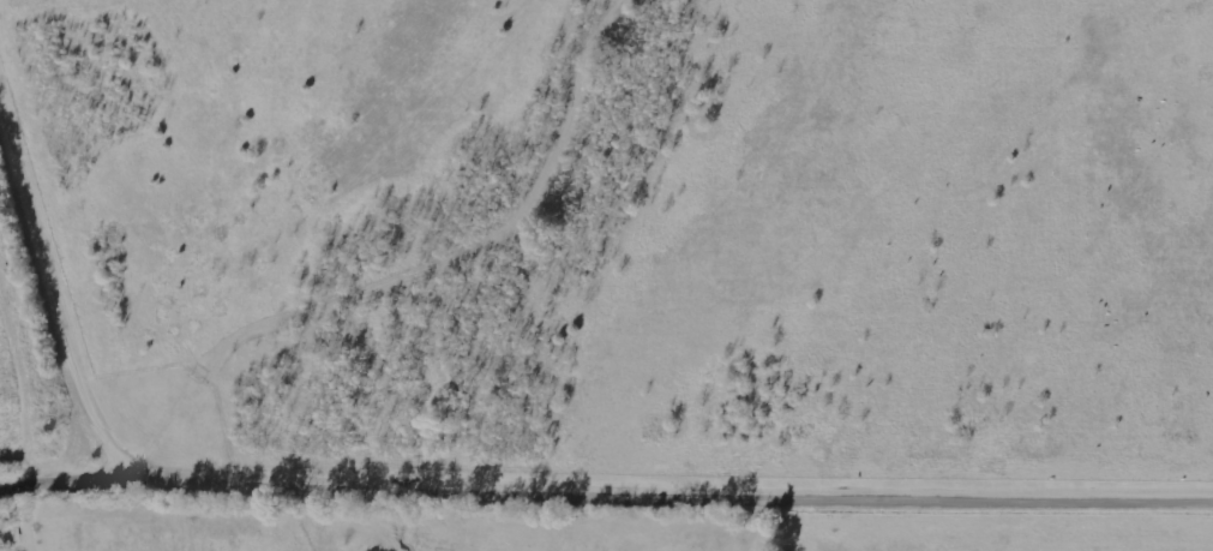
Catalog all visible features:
road: (60, 292)
road: (67, 489)
road: (673, 504)

